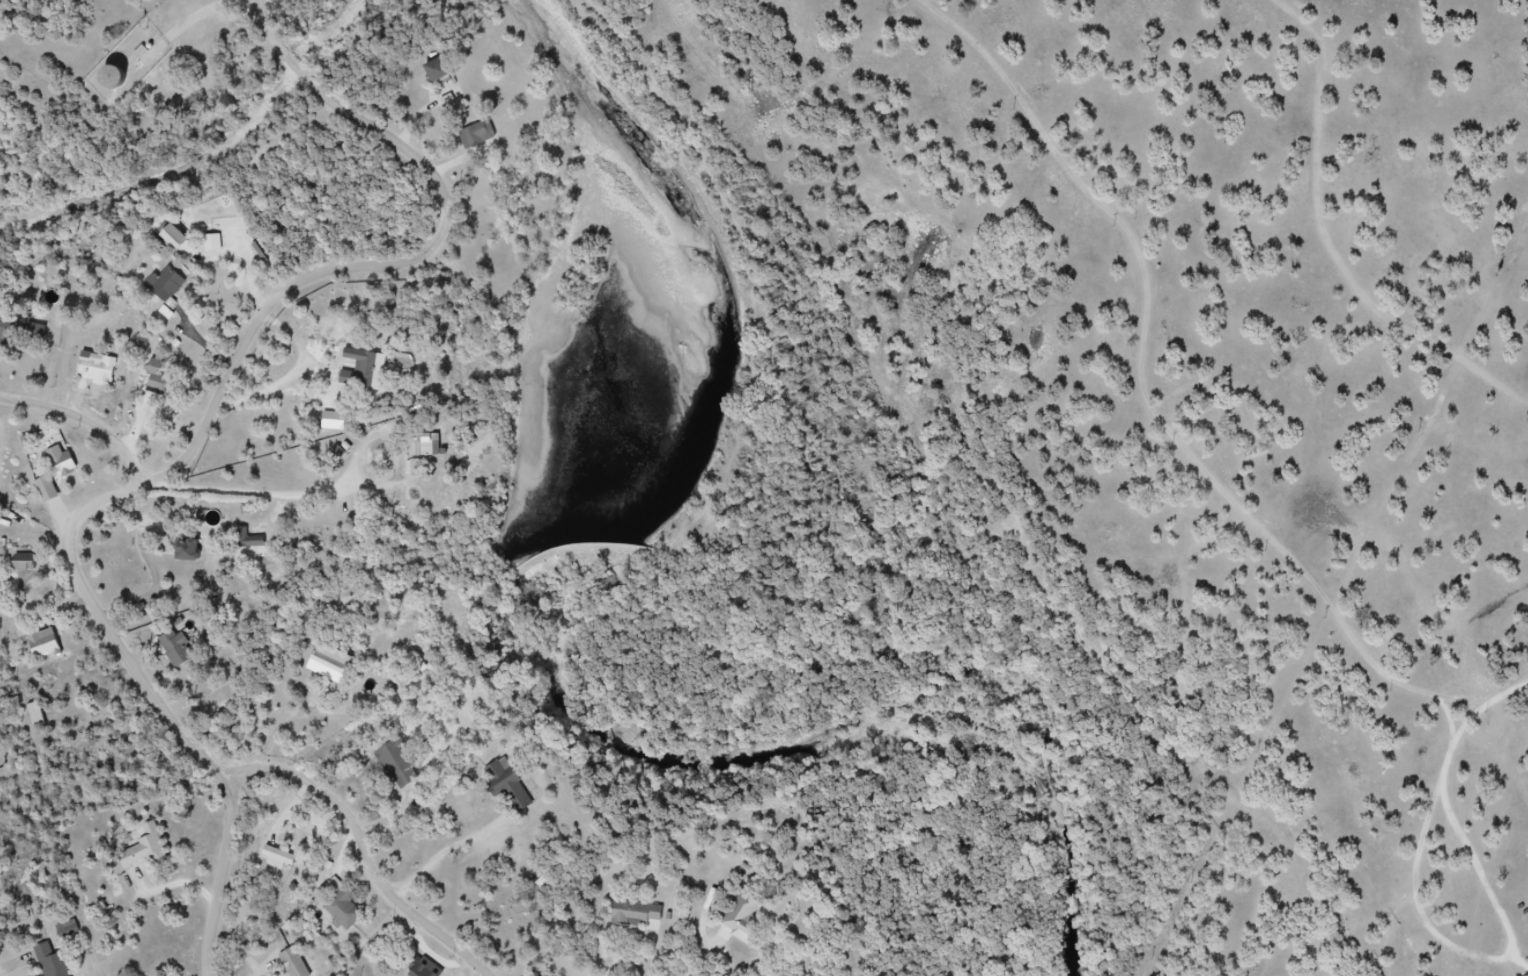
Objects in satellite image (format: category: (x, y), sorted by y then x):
road: (197, 20)
building: (114, 77)
building: (446, 77)
building: (122, 90)
water tower: (122, 91)
building: (486, 134)
building: (174, 236)
building: (184, 249)
building: (173, 290)
building: (30, 336)
building: (105, 372)
building: (374, 380)
building: (163, 385)
road: (88, 416)
road: (202, 438)
building: (425, 445)
building: (432, 461)
building: (63, 478)
building: (251, 541)
dam: (572, 548)
building: (188, 551)
building: (198, 562)
building: (31, 566)
building: (51, 647)
building: (184, 656)
building: (337, 669)
building: (37, 715)
building: (411, 768)
building: (515, 793)
road: (368, 847)
building: (152, 854)
building: (349, 903)
building: (638, 914)
building: (72, 931)
building: (647, 933)
building: (752, 933)
building: (59, 962)
building: (300, 964)
building: (433, 971)

